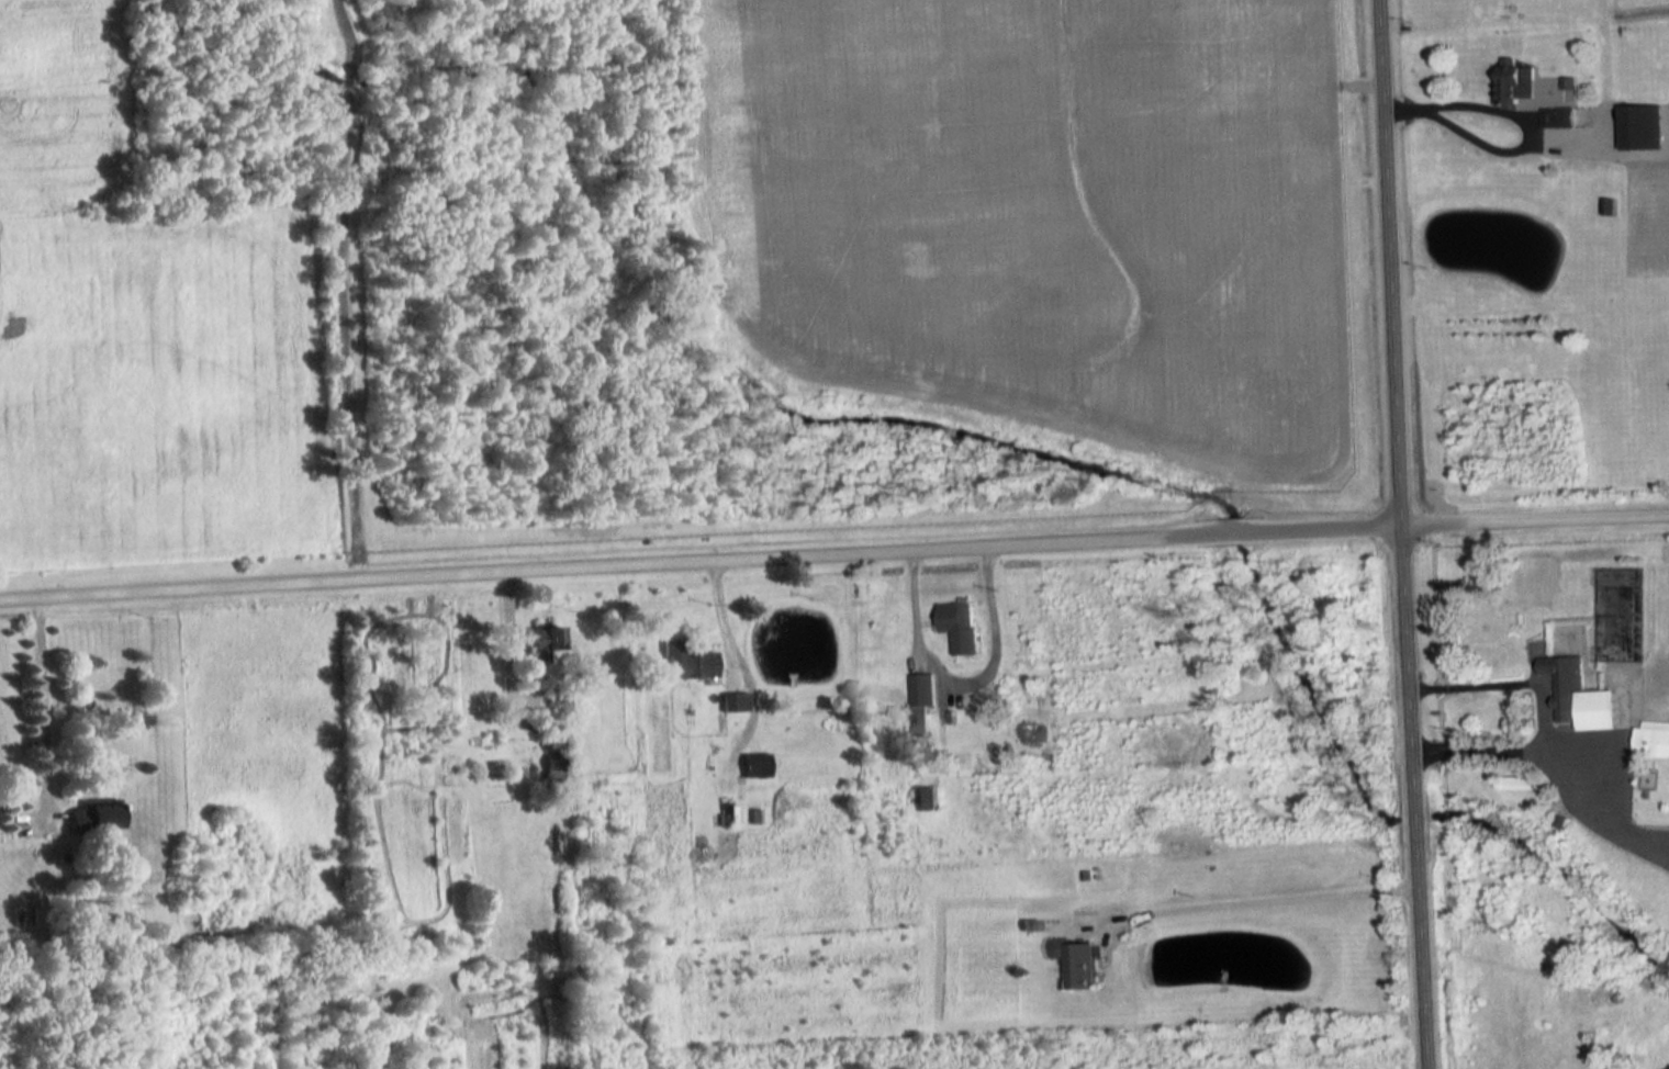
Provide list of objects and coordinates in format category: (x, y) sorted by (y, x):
building: (1514, 85)
road: (1461, 102)
building: (1640, 128)
road: (1401, 533)
road: (833, 554)
building: (959, 627)
building: (542, 643)
building: (685, 663)
road: (962, 680)
building: (921, 691)
building: (1578, 697)
road: (44, 701)
building: (732, 702)
building: (1651, 741)
building: (754, 766)
road: (1552, 773)
building: (921, 799)
building: (100, 815)
road: (1262, 901)
building: (1075, 960)

